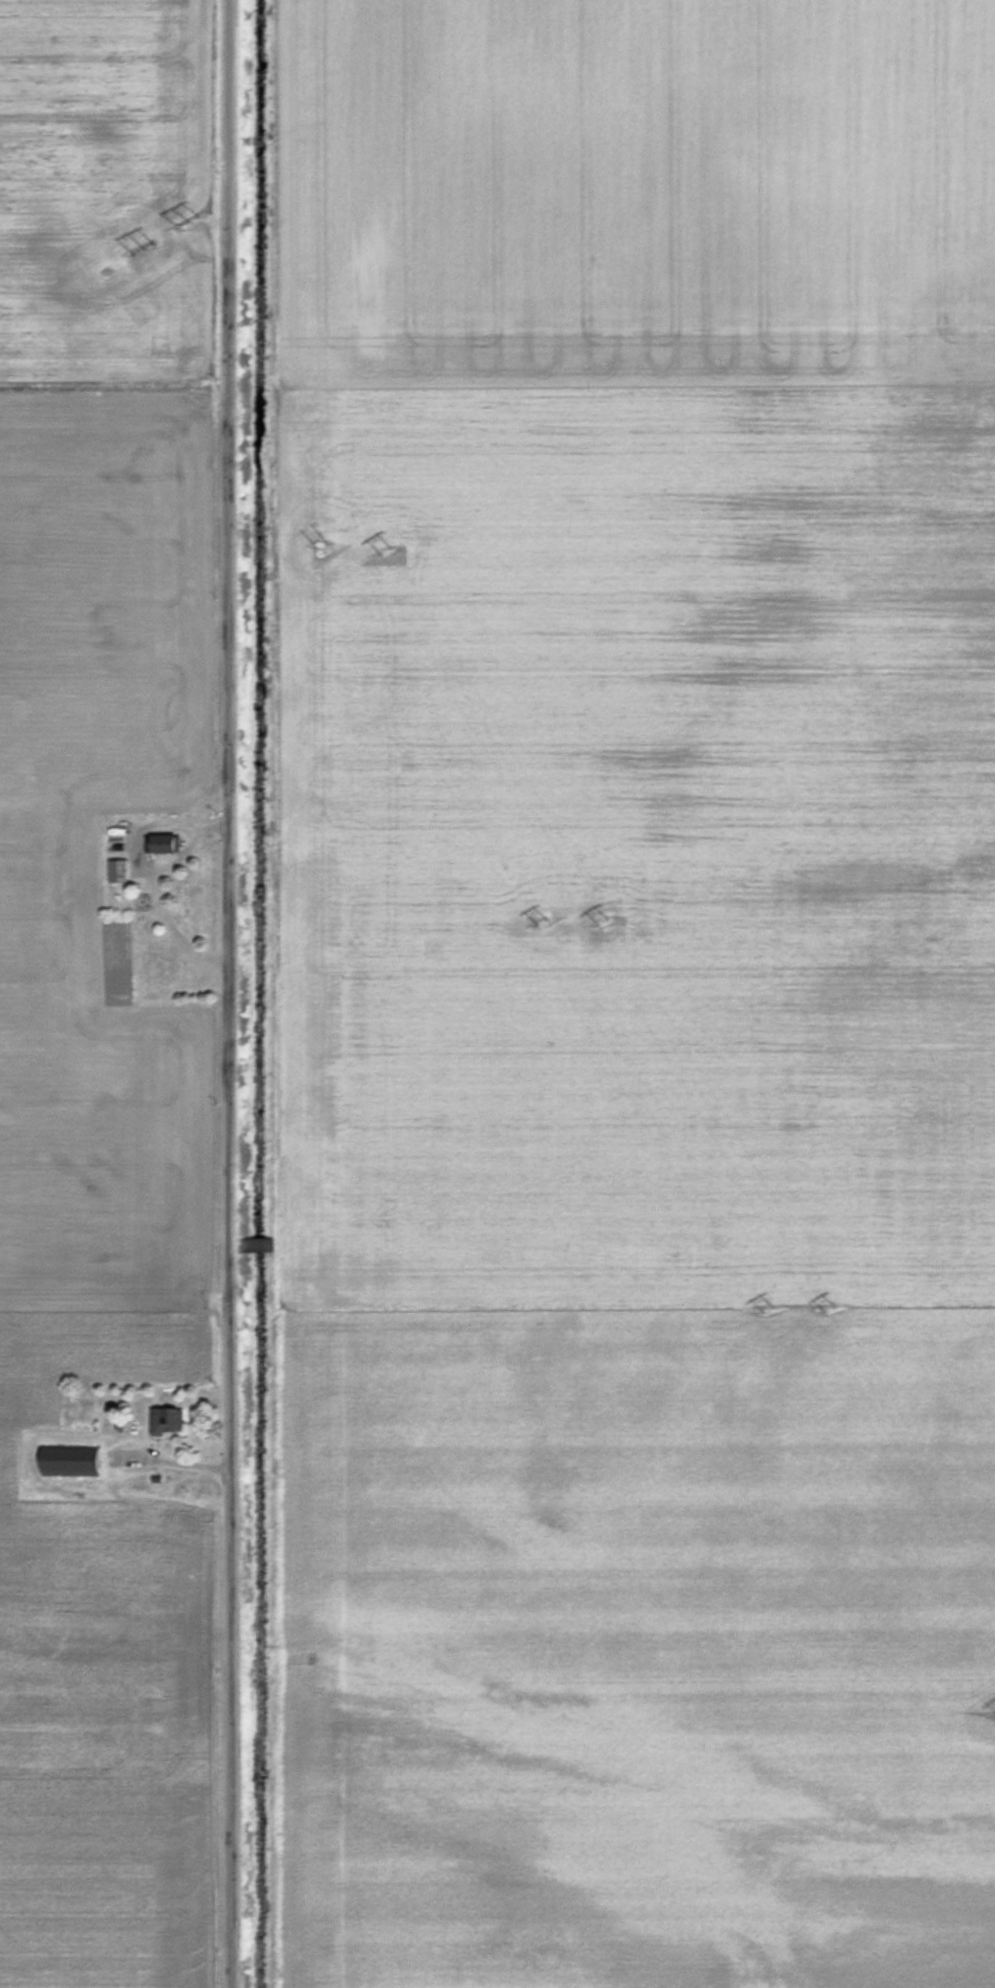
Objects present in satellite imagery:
power tower: (188, 221)
power tower: (143, 247)
power tower: (327, 549)
power tower: (389, 550)
building: (161, 842)
building: (116, 870)
power tower: (604, 918)
power tower: (543, 920)
road: (238, 994)
power tower: (833, 1307)
power tower: (767, 1309)
building: (164, 1420)
building: (128, 1427)
building: (66, 1459)

